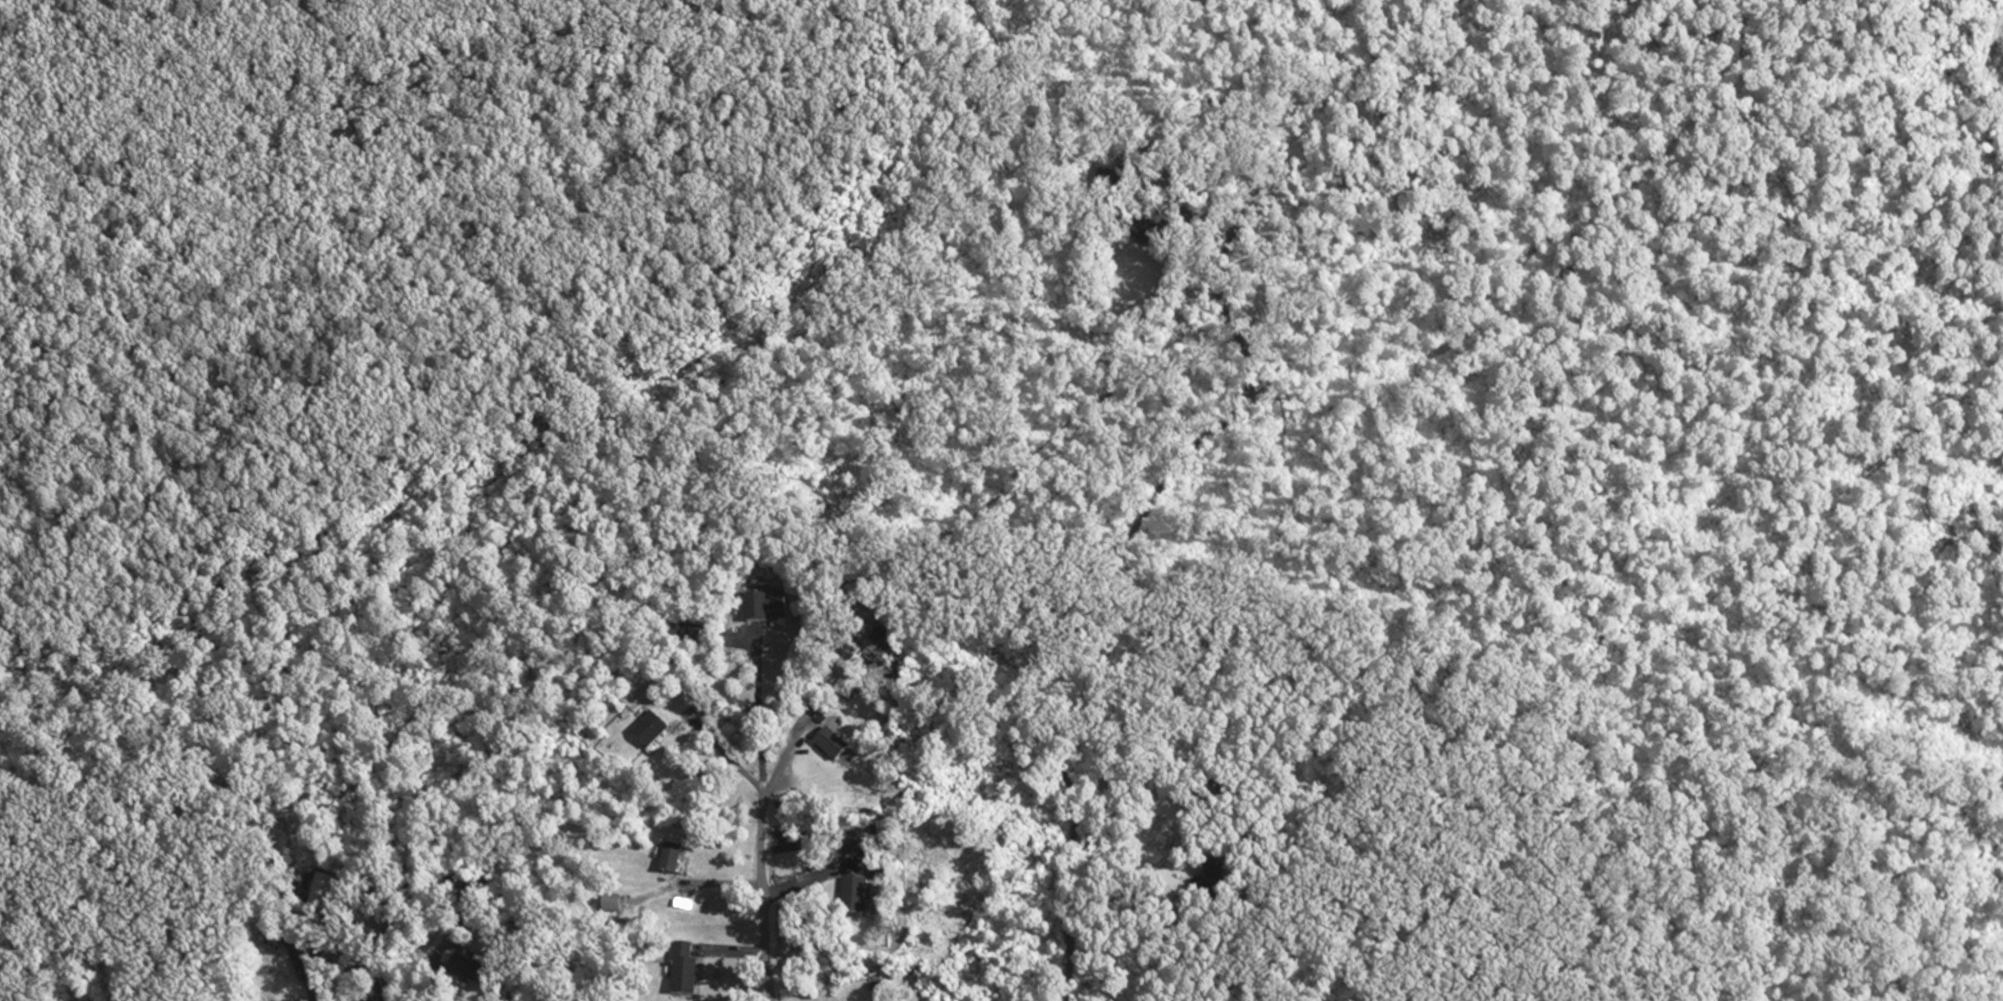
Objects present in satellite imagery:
road: (385, 117)
road: (1075, 598)
building: (853, 687)
road: (760, 717)
building: (659, 733)
building: (841, 746)
road: (1205, 779)
building: (679, 860)
building: (875, 868)
road: (763, 873)
building: (323, 891)
building: (862, 896)
building: (472, 969)
building: (694, 973)

